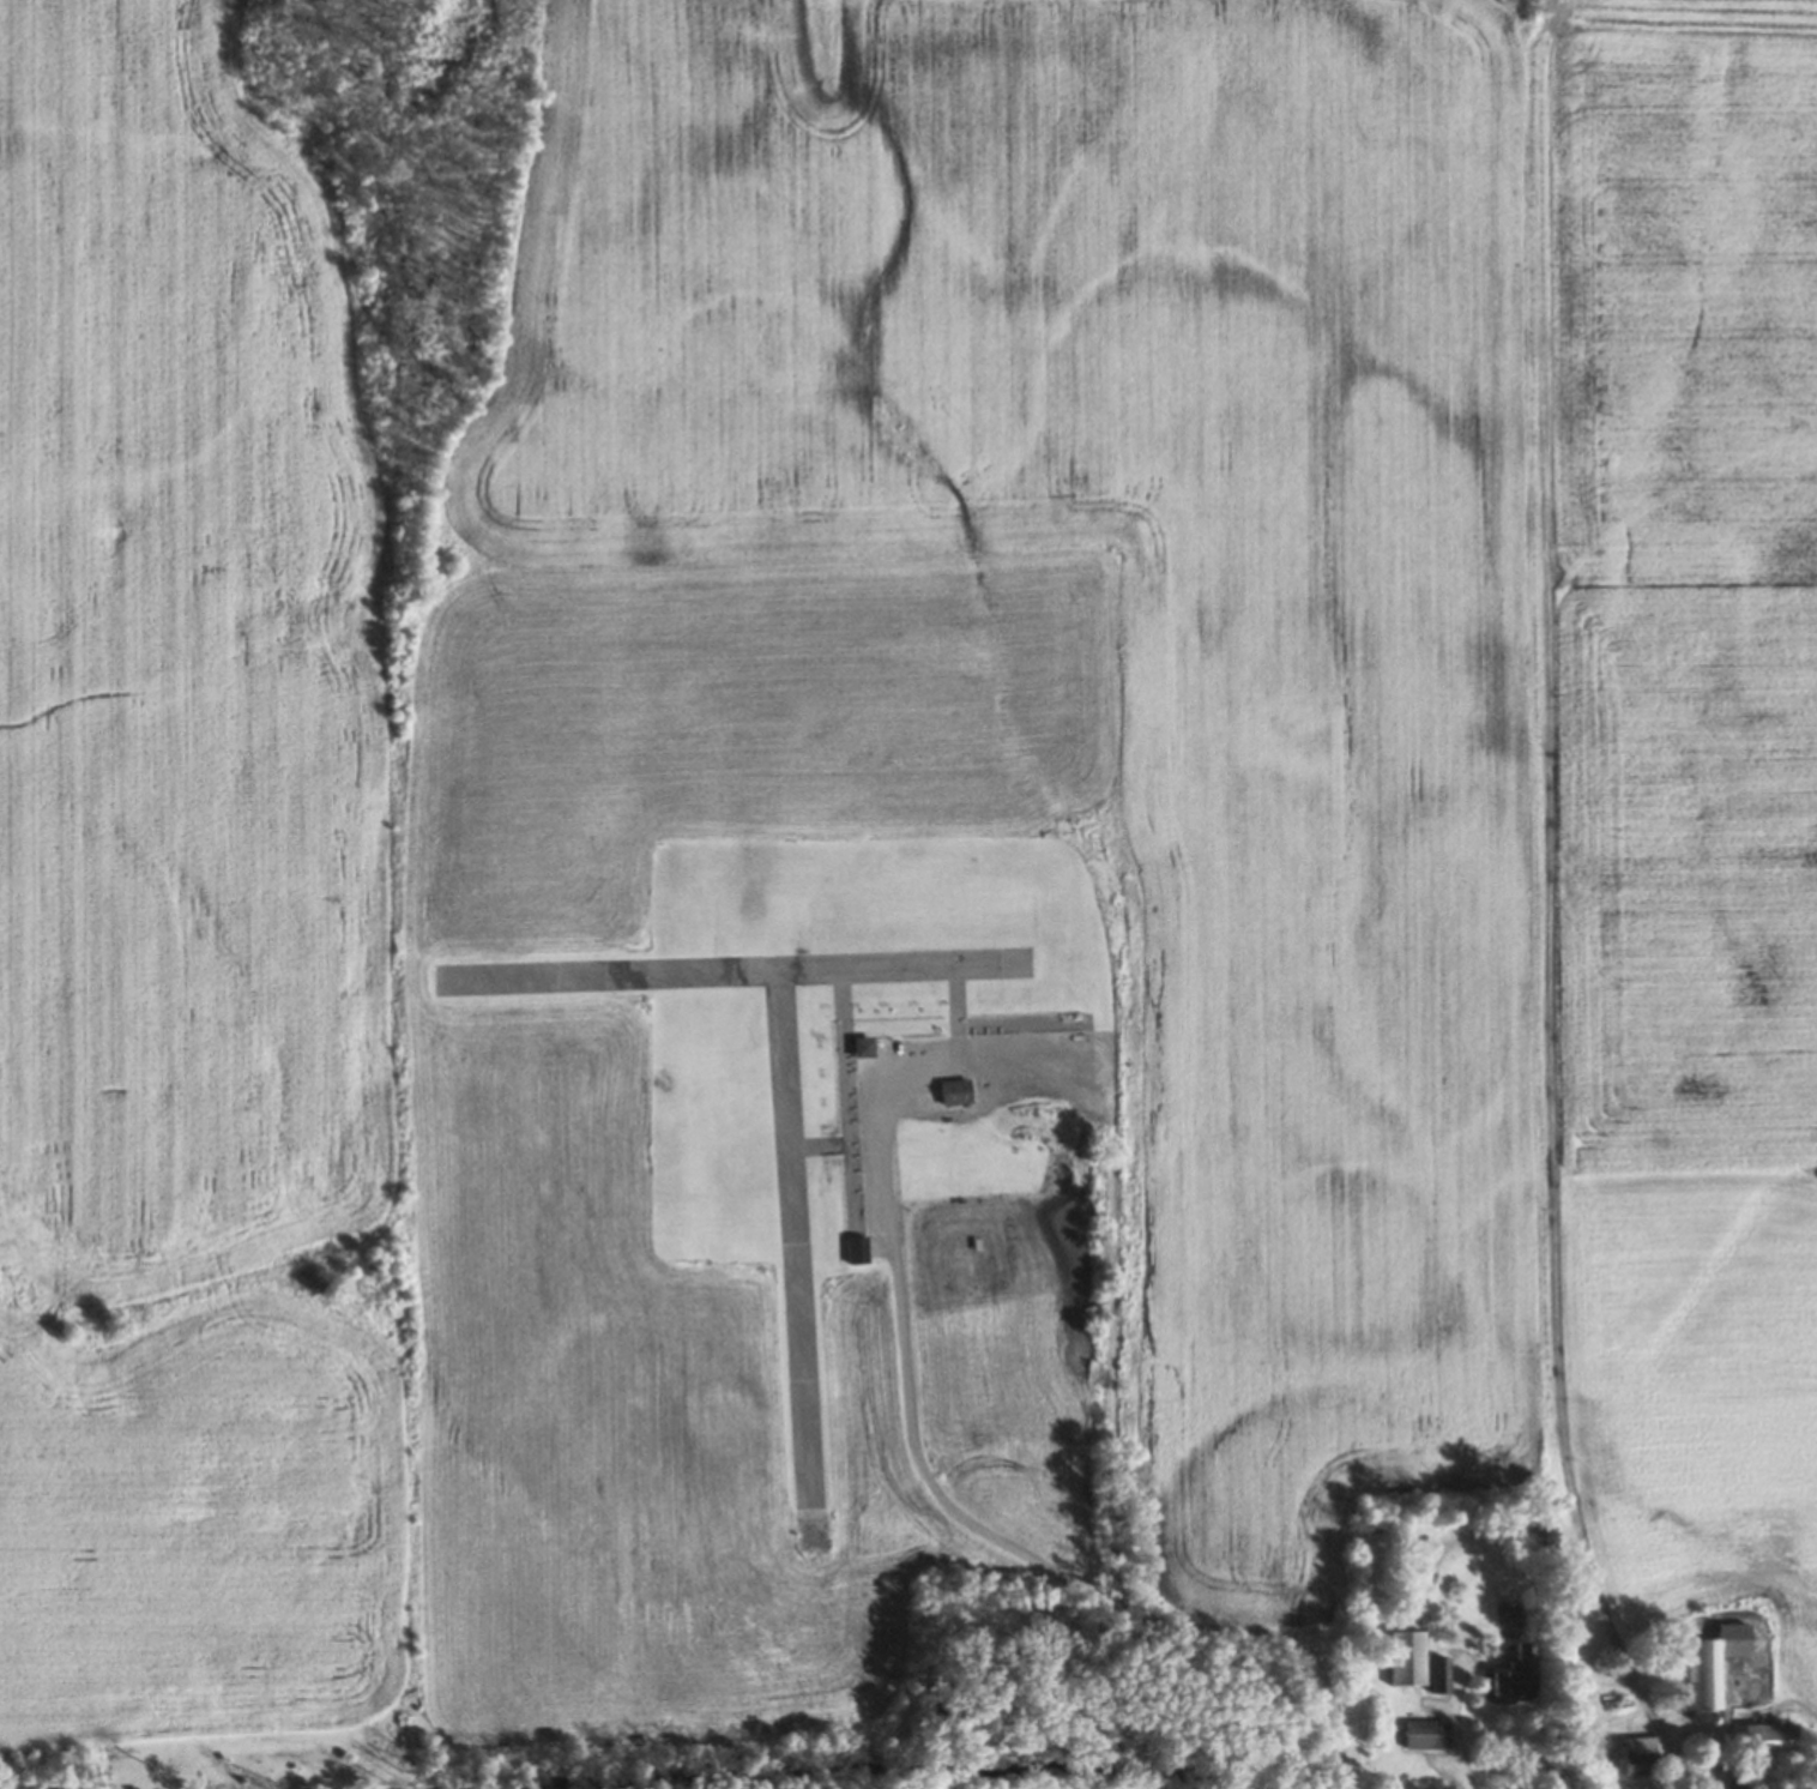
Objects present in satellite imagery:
building: (954, 996)
building: (863, 1046)
building: (954, 1091)
building: (856, 1249)
building: (808, 1489)
building: (1406, 1658)
building: (1713, 1663)
building: (1439, 1675)
building: (1516, 1675)
building: (1425, 1734)
building: (1770, 1739)
building: (1640, 1754)
building: (1735, 1784)

